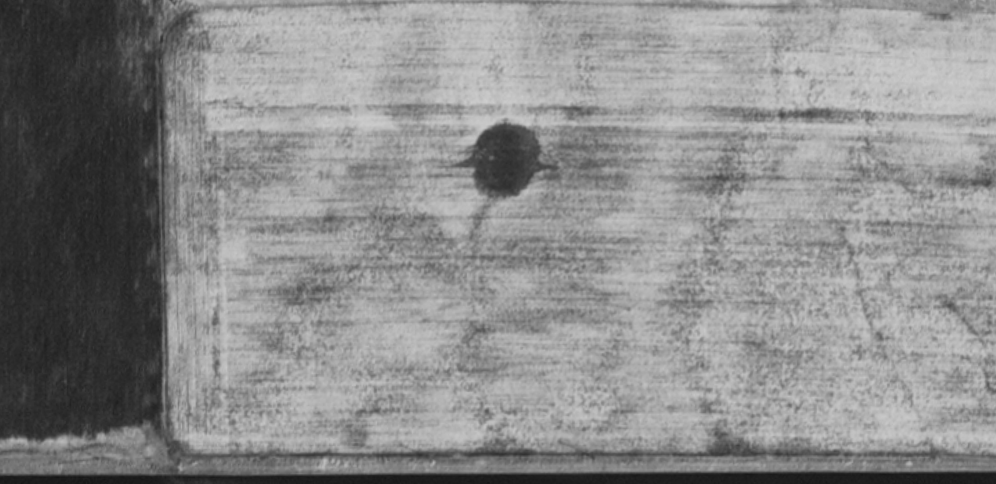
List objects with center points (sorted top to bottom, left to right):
road: (498, 482)

